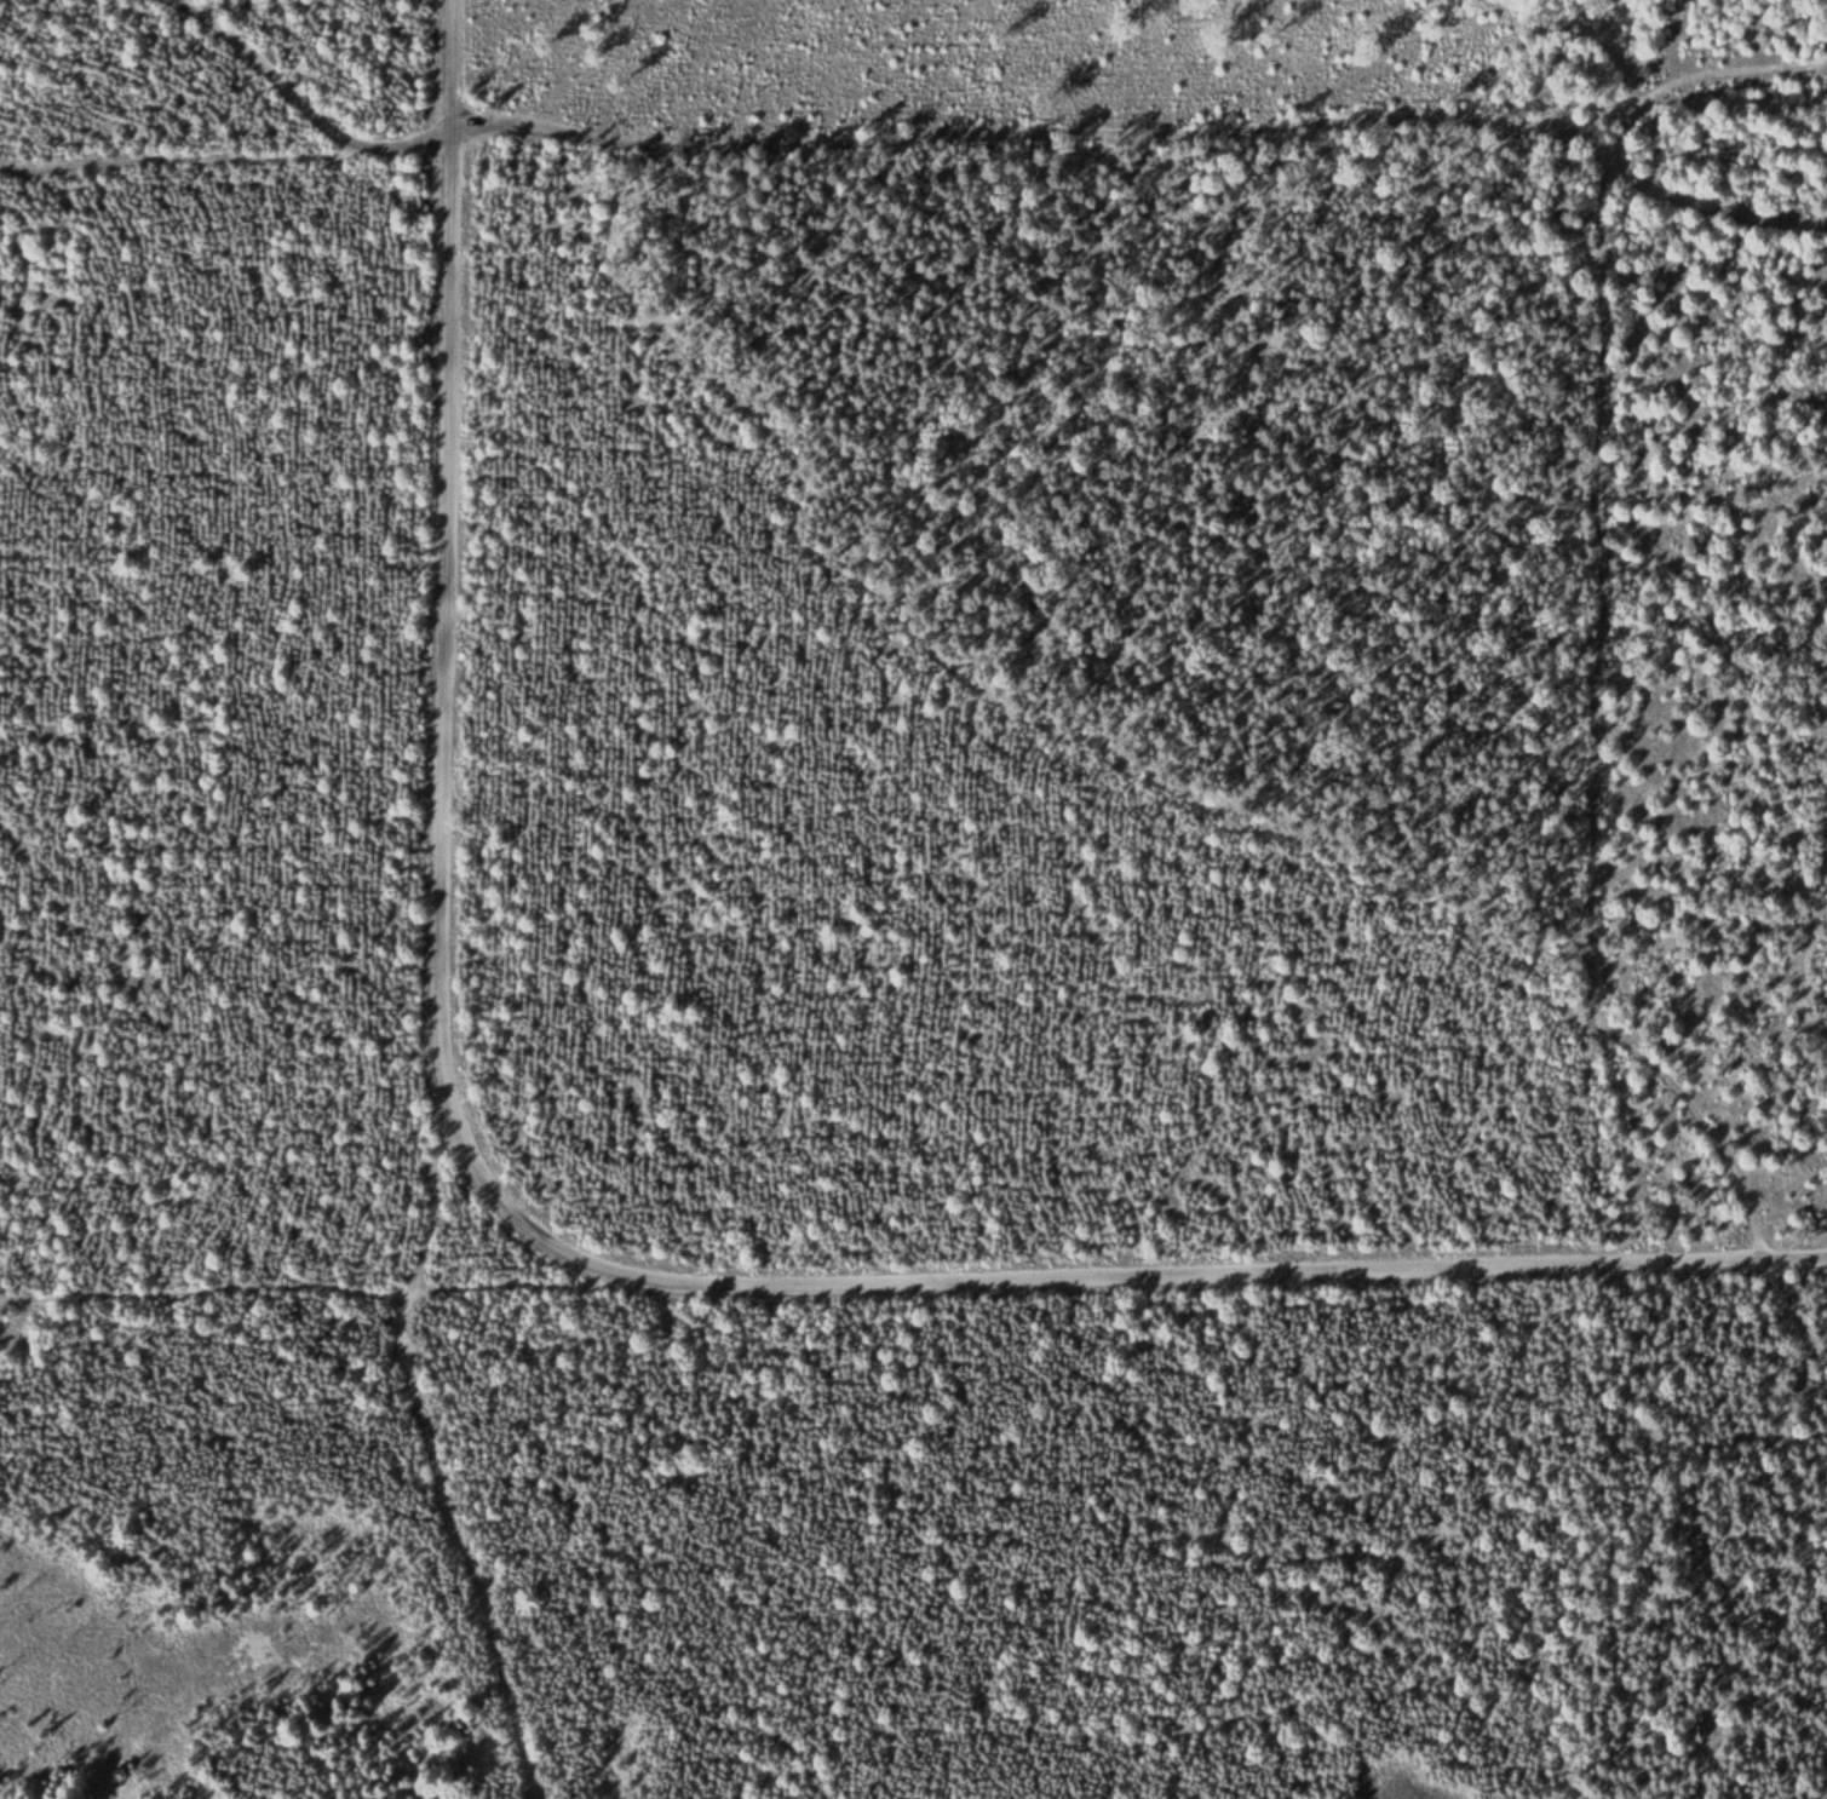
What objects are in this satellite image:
road: (1766, 65)
road: (982, 127)
road: (956, 683)
road: (555, 1237)
road: (321, 1299)
road: (437, 1461)

